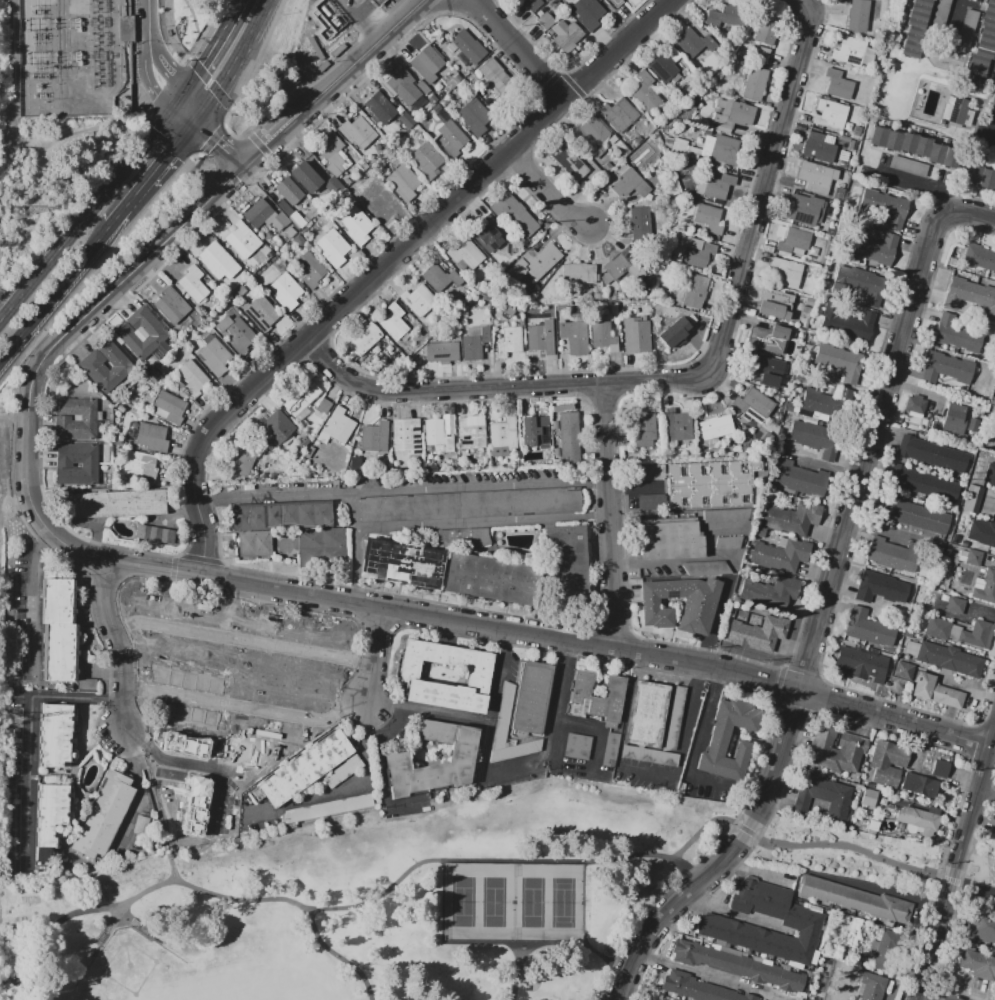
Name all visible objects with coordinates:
building: (377, 2)
gas station: (377, 2)
road: (357, 3)
building: (615, 3)
building: (533, 4)
building: (587, 13)
building: (858, 15)
building: (729, 18)
road: (955, 18)
road: (366, 21)
building: (545, 21)
building: (914, 28)
building: (768, 31)
road: (252, 35)
building: (565, 36)
building: (696, 44)
building: (468, 46)
building: (982, 47)
road: (521, 48)
building: (849, 51)
power substation: (78, 53)
building: (758, 54)
road: (366, 56)
road: (147, 57)
road: (207, 57)
building: (426, 63)
building: (665, 64)
flagpole: (499, 65)
building: (494, 74)
building: (457, 78)
building: (838, 84)
building: (757, 85)
building: (406, 86)
building: (644, 92)
building: (993, 97)
building: (432, 99)
road: (213, 100)
building: (380, 107)
traffic signals: (171, 111)
building: (439, 111)
building: (960, 111)
building: (618, 114)
building: (830, 114)
building: (743, 115)
building: (475, 116)
building: (405, 119)
road: (182, 120)
traffic signals: (194, 129)
building: (357, 132)
building: (585, 134)
road: (271, 138)
building: (453, 138)
building: (679, 145)
road: (218, 146)
building: (818, 147)
building: (912, 147)
building: (727, 151)
building: (331, 153)
road: (172, 155)
building: (427, 160)
building: (570, 161)
building: (306, 176)
building: (817, 176)
building: (979, 177)
building: (402, 180)
building: (630, 183)
road: (921, 183)
building: (718, 188)
road: (549, 189)
building: (289, 190)
building: (378, 202)
road: (131, 206)
building: (886, 207)
building: (805, 209)
building: (314, 210)
road: (974, 211)
power tower: (18, 212)
building: (515, 214)
building: (264, 215)
road: (85, 217)
building: (297, 220)
building: (710, 221)
building: (641, 222)
building: (356, 226)
road: (428, 226)
building: (290, 232)
building: (489, 233)
building: (242, 239)
building: (795, 239)
building: (298, 240)
building: (332, 246)
building: (873, 248)
building: (466, 254)
building: (700, 255)
building: (980, 258)
building: (537, 260)
building: (217, 261)
building: (620, 261)
road: (139, 265)
building: (310, 269)
building: (578, 272)
building: (787, 272)
building: (440, 277)
building: (859, 283)
building: (193, 284)
building: (695, 287)
building: (286, 291)
building: (969, 296)
road: (56, 298)
building: (418, 300)
building: (776, 304)
building: (171, 305)
building: (260, 312)
building: (393, 322)
building: (846, 323)
building: (675, 331)
building: (236, 332)
building: (143, 333)
building: (636, 334)
building: (507, 335)
building: (957, 335)
building: (574, 336)
building: (602, 336)
building: (768, 338)
building: (363, 339)
building: (539, 340)
building: (474, 342)
building: (442, 351)
building: (214, 355)
building: (839, 360)
building: (91, 365)
building: (948, 370)
building: (775, 372)
building: (192, 377)
road: (694, 377)
building: (300, 398)
building: (827, 402)
building: (754, 405)
building: (323, 406)
building: (916, 407)
building: (171, 408)
road: (14, 416)
building: (76, 419)
building: (956, 421)
building: (677, 424)
building: (336, 427)
building: (644, 427)
building: (715, 427)
building: (273, 428)
building: (313, 430)
building: (535, 432)
building: (503, 433)
building: (470, 434)
building: (406, 435)
building: (153, 436)
building: (437, 436)
building: (569, 436)
building: (374, 437)
building: (816, 438)
building: (303, 442)
building: (309, 452)
building: (930, 454)
building: (241, 458)
building: (749, 464)
building: (64, 465)
building: (140, 465)
road: (832, 468)
building: (990, 475)
road: (26, 477)
building: (801, 478)
building: (923, 482)
building: (696, 484)
road: (402, 489)
building: (971, 497)
parking lot: (437, 500)
building: (116, 503)
building: (469, 505)
road: (990, 505)
road: (353, 510)
road: (610, 514)
building: (725, 514)
building: (279, 515)
building: (916, 516)
road: (201, 517)
building: (790, 517)
road: (481, 522)
building: (154, 533)
building: (983, 534)
building: (467, 538)
building: (670, 540)
building: (728, 542)
building: (255, 543)
building: (322, 546)
building: (778, 554)
building: (894, 556)
building: (976, 558)
road: (110, 559)
road: (152, 562)
road: (643, 563)
road: (354, 565)
building: (401, 566)
building: (706, 567)
building: (565, 568)
road: (150, 570)
building: (491, 581)
building: (882, 589)
building: (987, 589)
building: (769, 592)
road: (33, 600)
building: (699, 603)
building: (958, 606)
road: (985, 615)
building: (187, 619)
road: (818, 620)
building: (871, 629)
building: (939, 630)
building: (58, 632)
building: (758, 632)
road: (562, 636)
building: (978, 637)
road: (118, 639)
building: (305, 639)
road: (378, 657)
building: (951, 660)
building: (862, 666)
road: (324, 669)
building: (905, 671)
building: (445, 675)
building: (85, 682)
building: (937, 692)
building: (186, 693)
building: (531, 697)
building: (595, 698)
road: (558, 699)
road: (332, 706)
road: (429, 711)
parking lot: (505, 711)
building: (646, 713)
parking lot: (674, 718)
power tower: (16, 719)
building: (269, 723)
road: (703, 723)
road: (594, 731)
road: (30, 732)
road: (993, 734)
building: (55, 736)
road: (969, 736)
building: (728, 740)
building: (576, 745)
building: (512, 746)
parking lot: (577, 746)
building: (609, 748)
parking lot: (610, 749)
building: (837, 752)
road: (484, 753)
parking lot: (648, 755)
building: (395, 758)
building: (888, 766)
building: (311, 768)
building: (942, 771)
building: (921, 786)
road: (343, 788)
road: (985, 792)
building: (199, 793)
building: (824, 795)
road: (151, 796)
building: (866, 798)
parking lot: (329, 808)
building: (52, 813)
building: (102, 814)
building: (921, 823)
park: (848, 854)
road: (589, 862)
road: (954, 870)
building: (854, 899)
park: (373, 902)
park: (469, 904)
park: (500, 904)
park: (538, 904)
park: (569, 904)
road: (77, 914)
road: (734, 914)
building: (800, 922)
building: (983, 927)
road: (517, 944)
building: (882, 950)
road: (342, 954)
road: (610, 960)
building: (732, 965)
building: (979, 966)
park: (131, 969)
road: (523, 972)
building: (835, 976)
road: (712, 977)
road: (3, 984)
building: (870, 987)
building: (695, 988)
park: (179, 992)
road: (926, 999)

